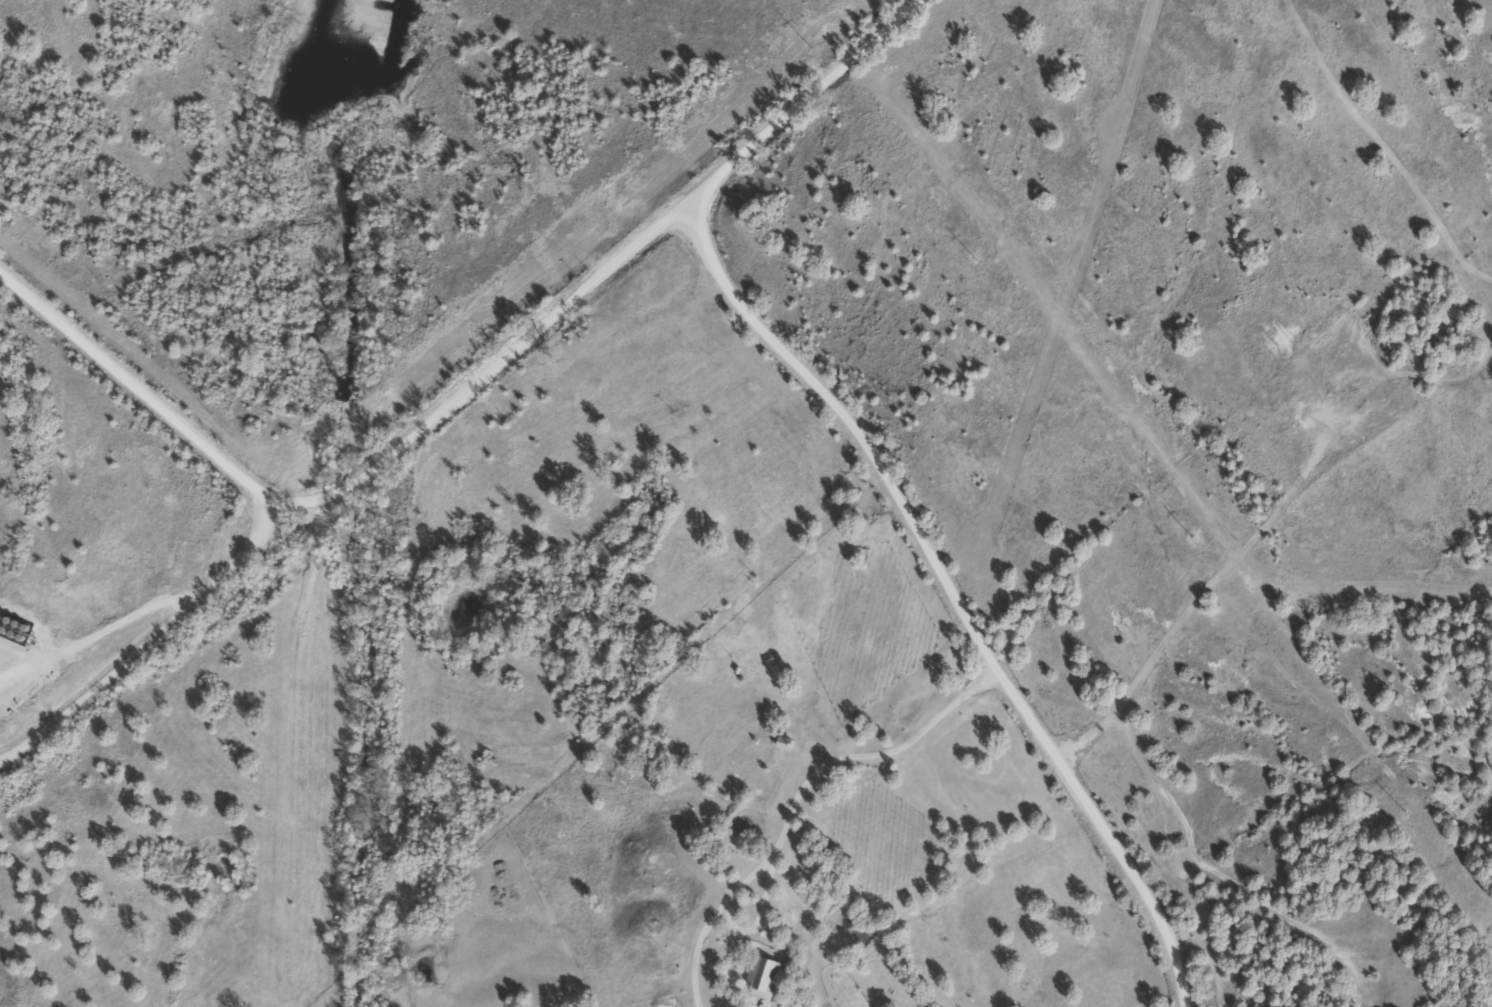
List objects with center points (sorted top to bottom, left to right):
road: (475, 395)
road: (952, 597)
road: (1202, 607)
road: (120, 624)
road: (151, 645)
building: (761, 974)

